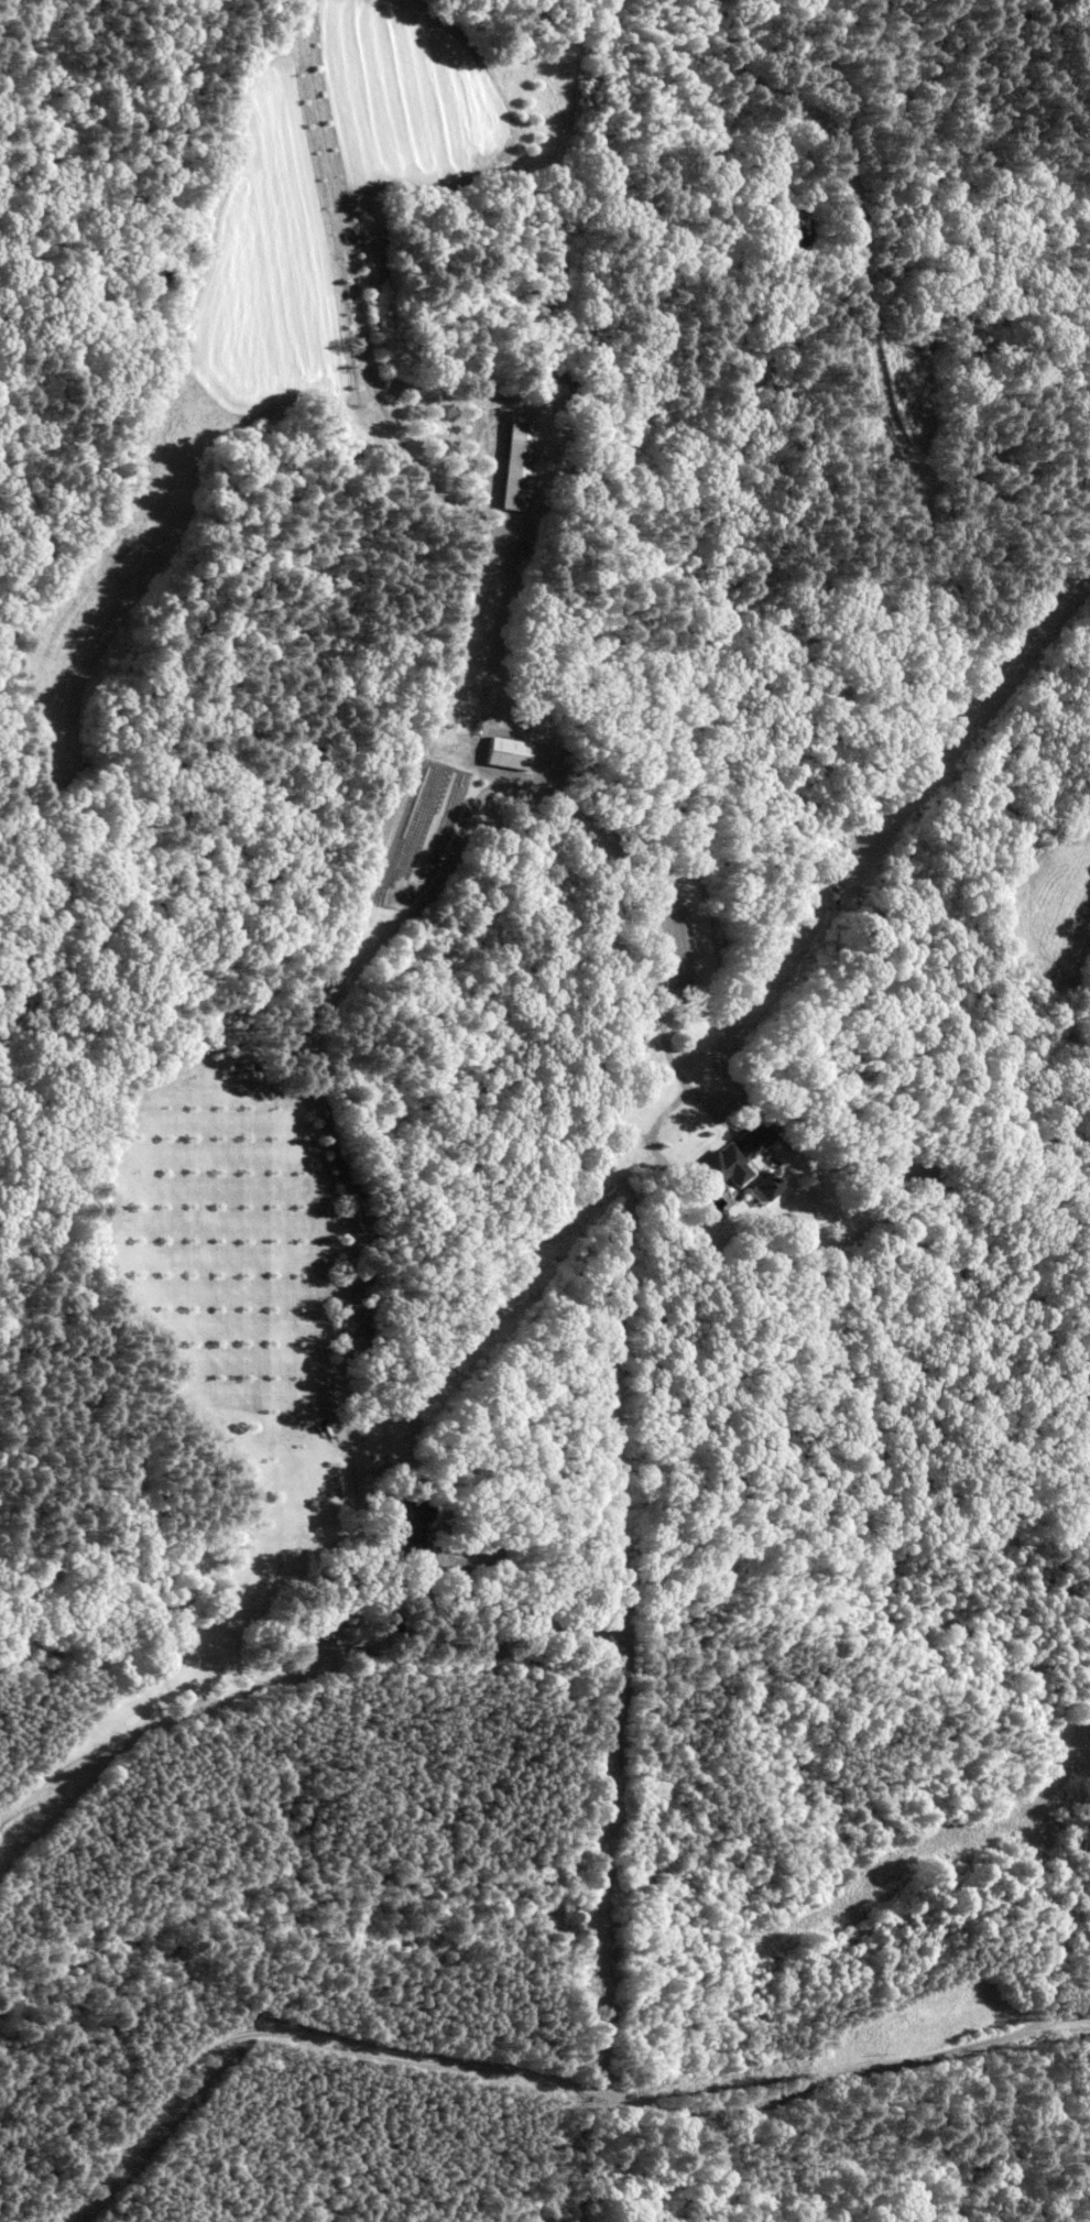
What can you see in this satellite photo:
building: (512, 467)
building: (753, 1136)
building: (722, 1167)
building: (406, 1522)
building: (316, 1622)

